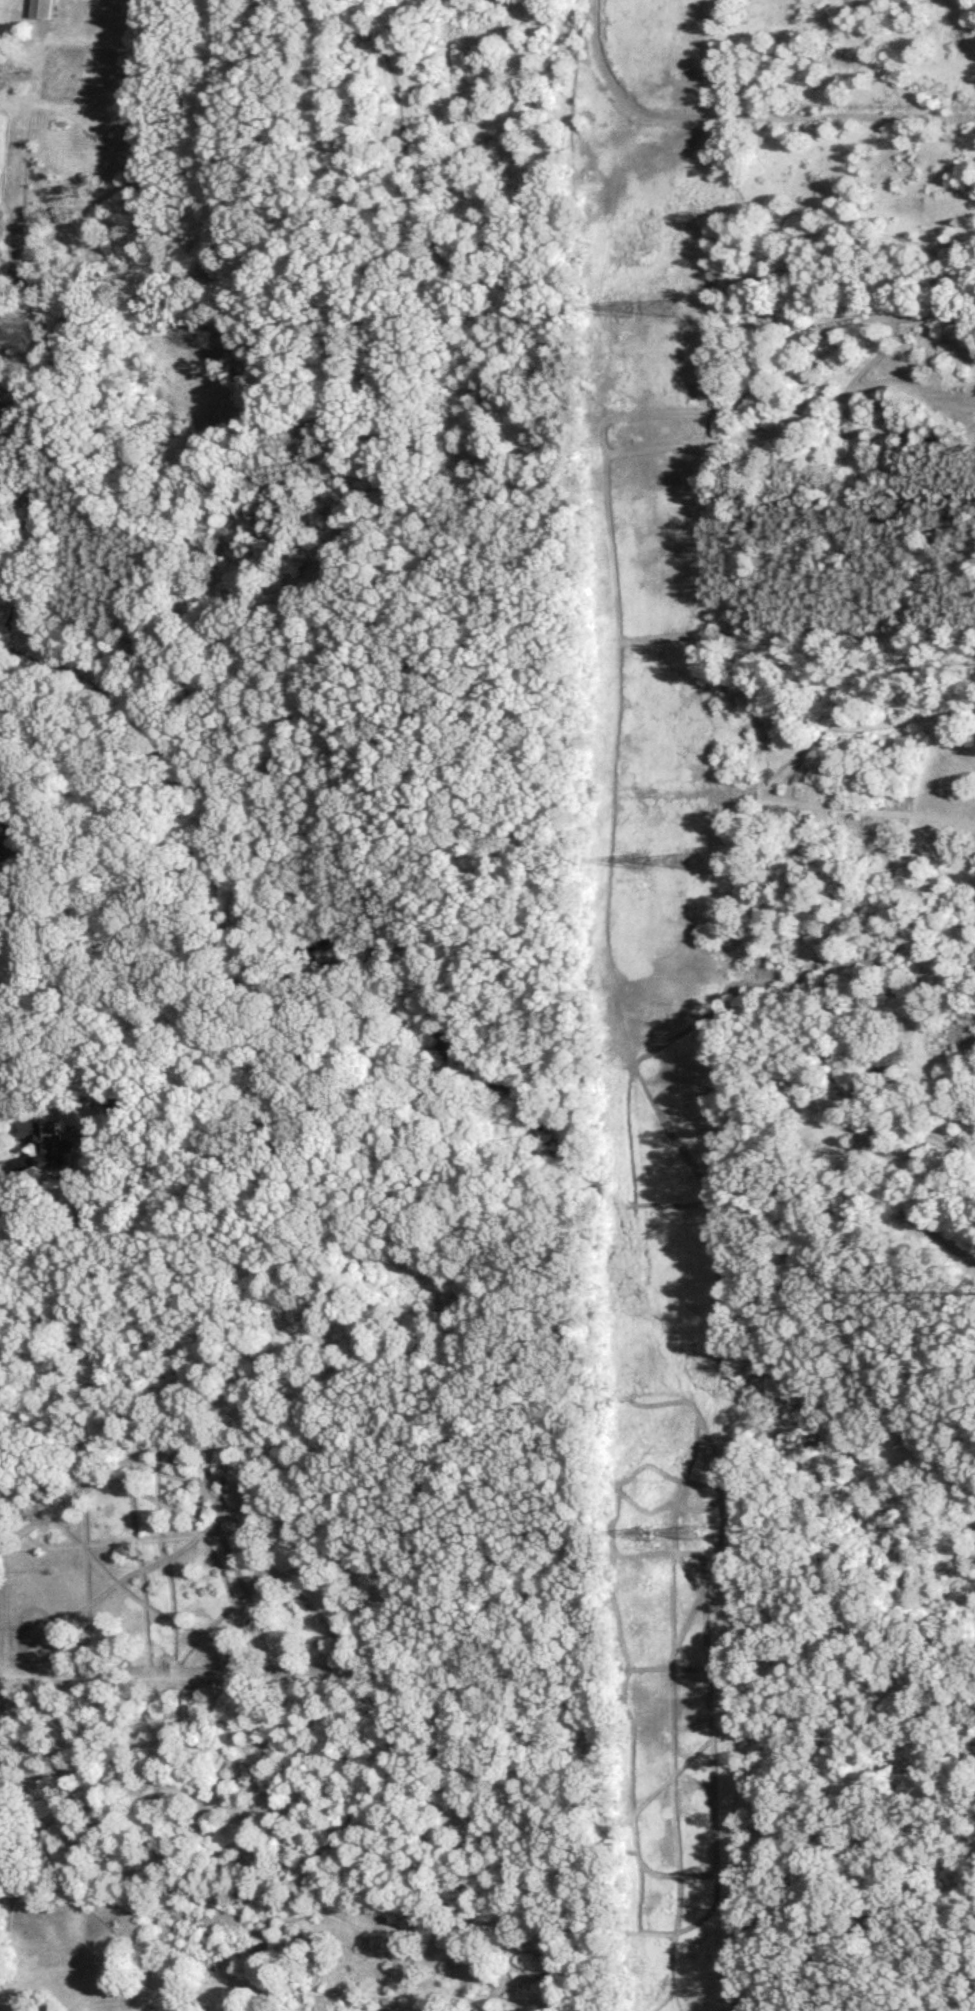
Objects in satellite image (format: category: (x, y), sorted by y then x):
building: (42, 8)
power tower: (669, 309)
power tower: (627, 310)
power tower: (639, 862)
power tower: (680, 862)
building: (49, 1140)
road: (11, 1163)
power tower: (695, 1534)
power tower: (653, 1535)

